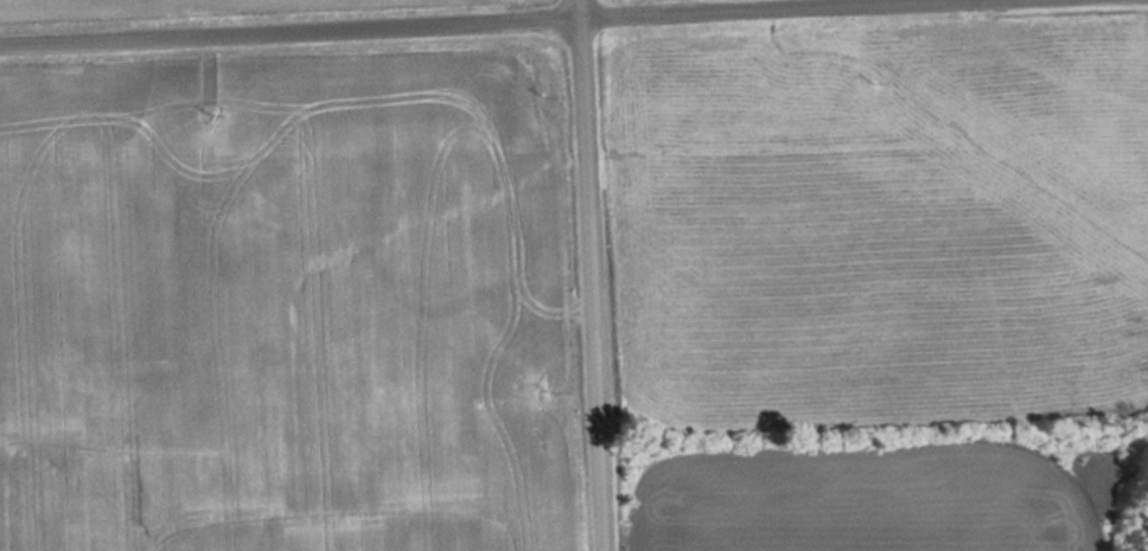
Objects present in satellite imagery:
road: (440, 19)
road: (583, 275)

